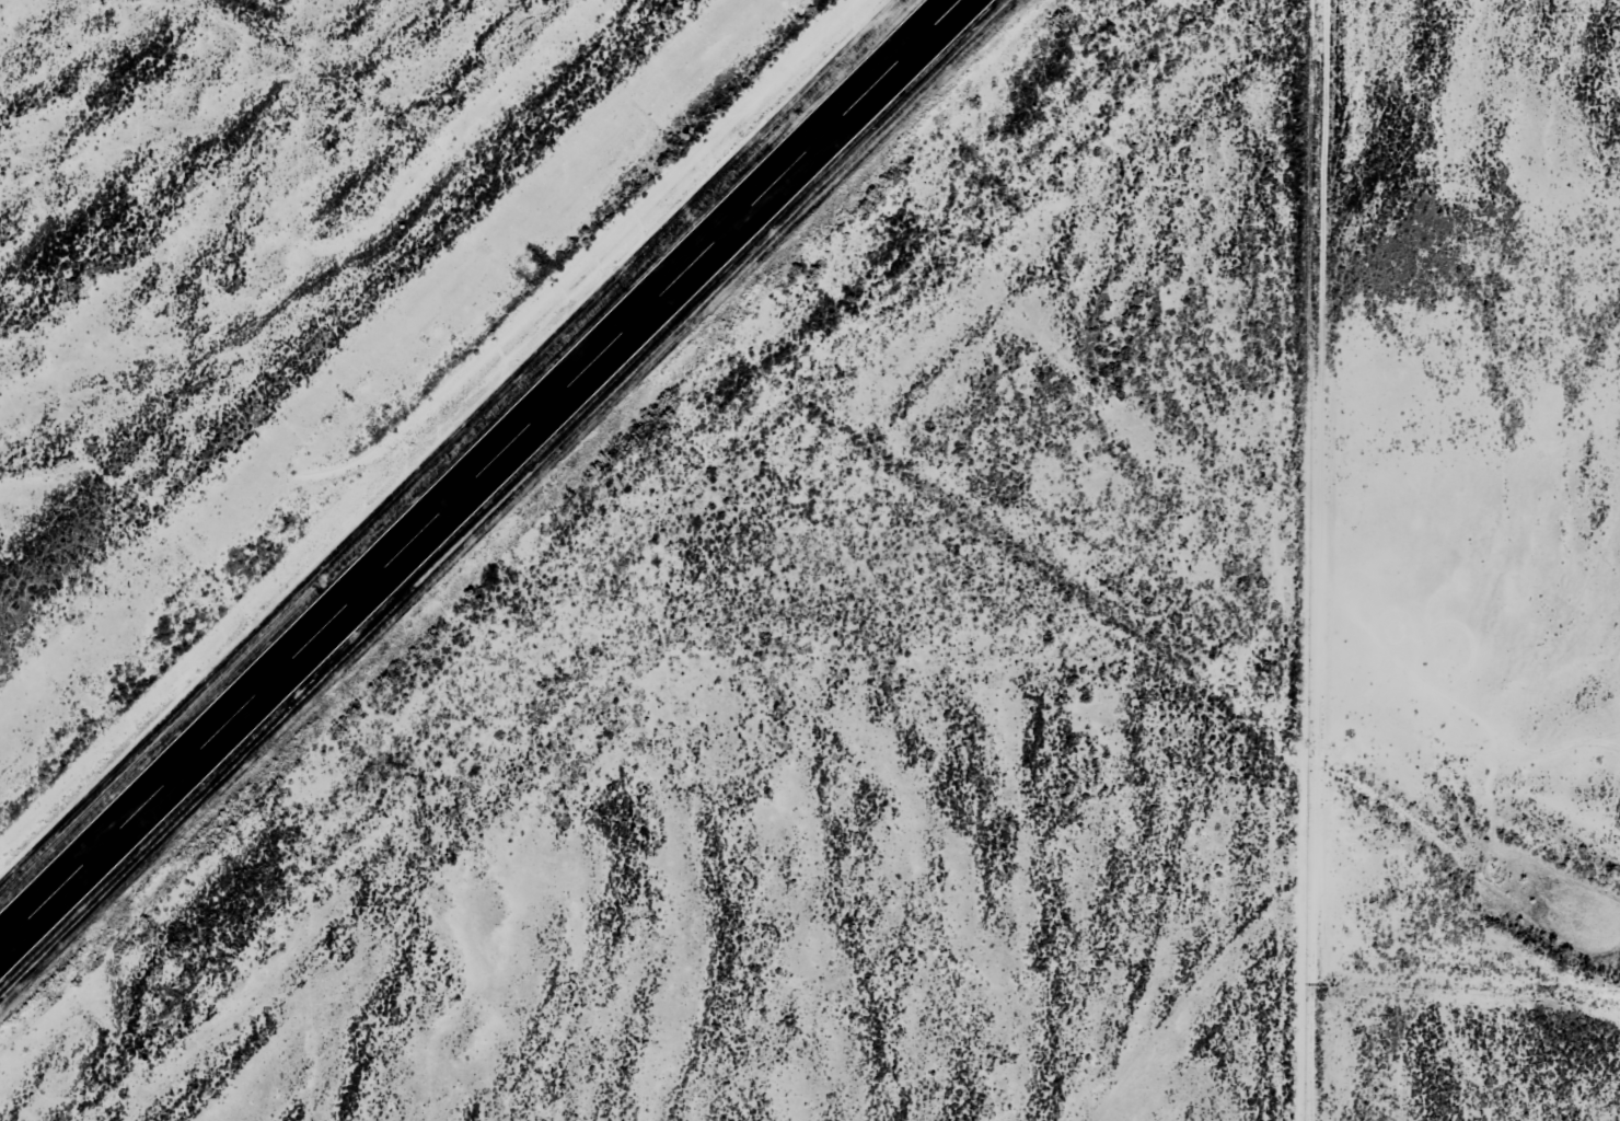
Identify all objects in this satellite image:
airport runway: (478, 473)
road: (1295, 560)

